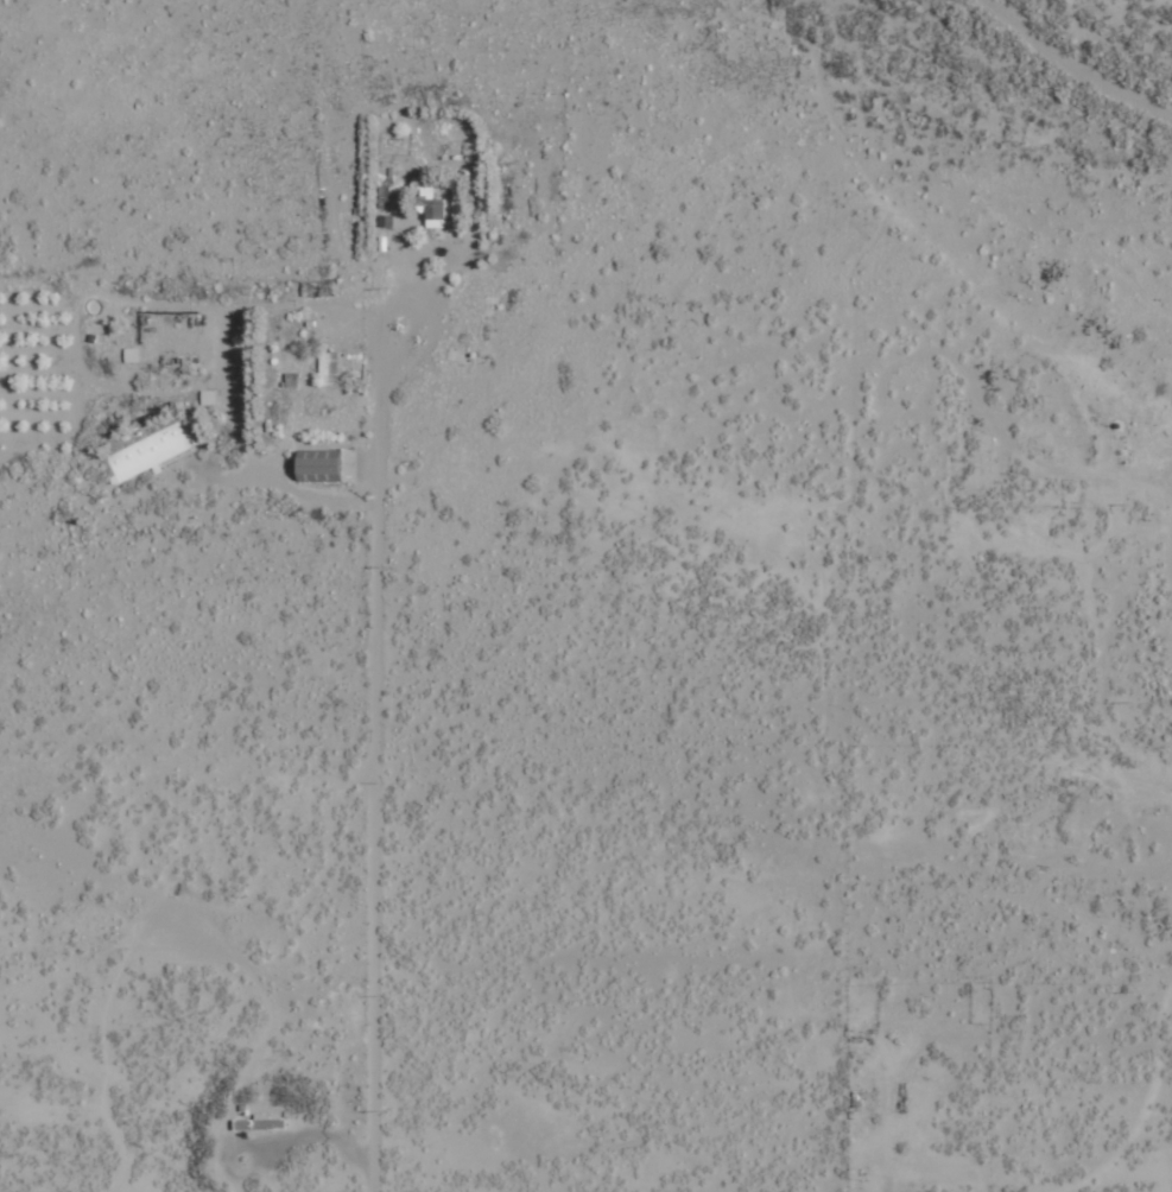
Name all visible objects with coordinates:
river: (1037, 19)
river: (1134, 68)
building: (431, 208)
road: (399, 307)
building: (335, 367)
building: (148, 451)
building: (317, 465)
road: (379, 793)
building: (259, 1122)

